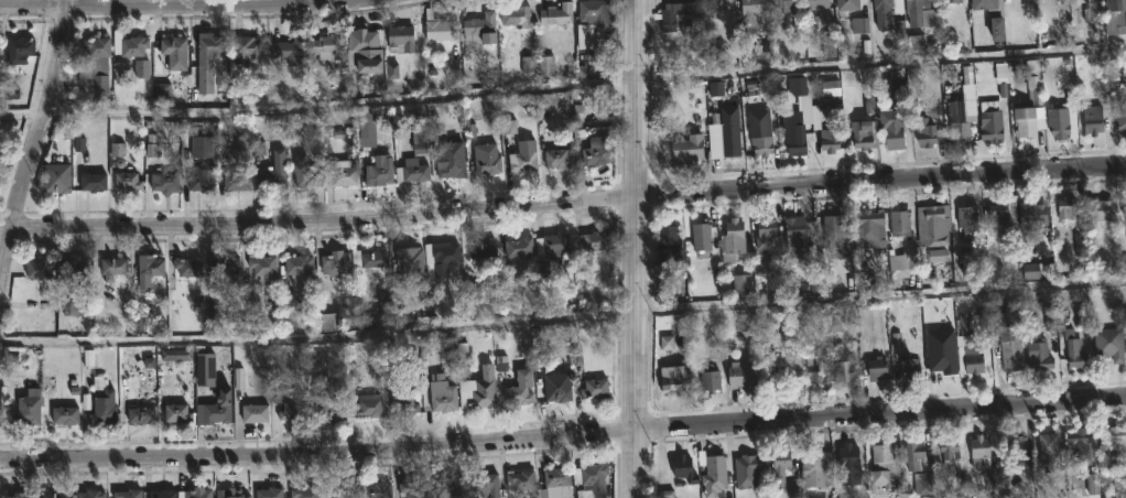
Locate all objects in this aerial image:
building: (952, 1)
building: (814, 3)
building: (712, 4)
building: (880, 4)
building: (787, 6)
road: (188, 7)
building: (914, 11)
building: (557, 14)
building: (672, 14)
building: (753, 15)
building: (518, 17)
building: (860, 17)
building: (989, 17)
building: (1114, 17)
building: (594, 20)
building: (439, 26)
building: (481, 28)
building: (403, 36)
building: (134, 45)
building: (22, 46)
building: (98, 46)
building: (327, 47)
building: (247, 48)
building: (369, 48)
building: (175, 51)
building: (290, 51)
building: (210, 57)
road: (562, 84)
building: (1028, 115)
building: (1119, 117)
building: (989, 120)
building: (1062, 120)
building: (1091, 120)
building: (890, 129)
building: (928, 132)
building: (961, 133)
building: (865, 134)
road: (35, 138)
building: (722, 138)
building: (792, 138)
building: (759, 140)
building: (827, 140)
building: (685, 150)
building: (597, 153)
building: (524, 156)
building: (559, 158)
building: (488, 159)
building: (453, 167)
building: (414, 170)
building: (382, 171)
building: (306, 173)
building: (342, 173)
building: (58, 178)
building: (204, 178)
building: (273, 178)
building: (94, 181)
building: (128, 181)
building: (237, 181)
building: (165, 182)
building: (1123, 206)
road: (563, 208)
building: (1068, 209)
building: (1097, 209)
building: (1000, 212)
building: (1030, 216)
building: (965, 217)
building: (898, 224)
building: (932, 225)
building: (792, 228)
building: (765, 230)
building: (865, 230)
building: (832, 231)
building: (700, 236)
building: (598, 240)
building: (730, 240)
building: (521, 246)
building: (668, 247)
building: (485, 248)
road: (634, 248)
building: (408, 256)
building: (446, 259)
building: (546, 259)
building: (373, 260)
building: (338, 261)
building: (300, 263)
building: (899, 263)
building: (191, 266)
building: (115, 267)
building: (39, 268)
building: (225, 268)
building: (151, 269)
building: (266, 269)
building: (79, 271)
building: (1036, 271)
building: (740, 285)
road: (563, 321)
building: (1108, 343)
building: (966, 347)
building: (1072, 348)
building: (1009, 350)
building: (1037, 355)
building: (908, 366)
building: (941, 366)
building: (808, 367)
building: (875, 368)
building: (845, 372)
building: (207, 373)
building: (736, 375)
building: (780, 377)
building: (675, 378)
building: (707, 378)
building: (597, 388)
building: (481, 390)
building: (560, 392)
building: (519, 394)
building: (447, 400)
building: (102, 402)
building: (405, 404)
building: (367, 405)
building: (29, 408)
building: (328, 409)
building: (294, 411)
building: (256, 412)
building: (178, 413)
building: (66, 414)
building: (216, 414)
building: (142, 415)
road: (563, 435)
building: (1113, 441)
building: (1076, 443)
building: (1015, 447)
building: (1047, 447)
building: (948, 451)
building: (979, 453)
building: (778, 466)
building: (815, 466)
building: (883, 466)
building: (918, 466)
building: (847, 467)
building: (685, 468)
building: (746, 469)
building: (714, 475)
building: (557, 476)
building: (522, 479)
building: (594, 480)
building: (488, 484)
building: (448, 487)
building: (414, 488)
building: (376, 490)
building: (305, 491)
building: (342, 491)
building: (271, 492)
building: (21, 494)
building: (57, 494)
building: (90, 494)
building: (129, 494)
building: (164, 494)
building: (196, 494)
building: (227, 494)

